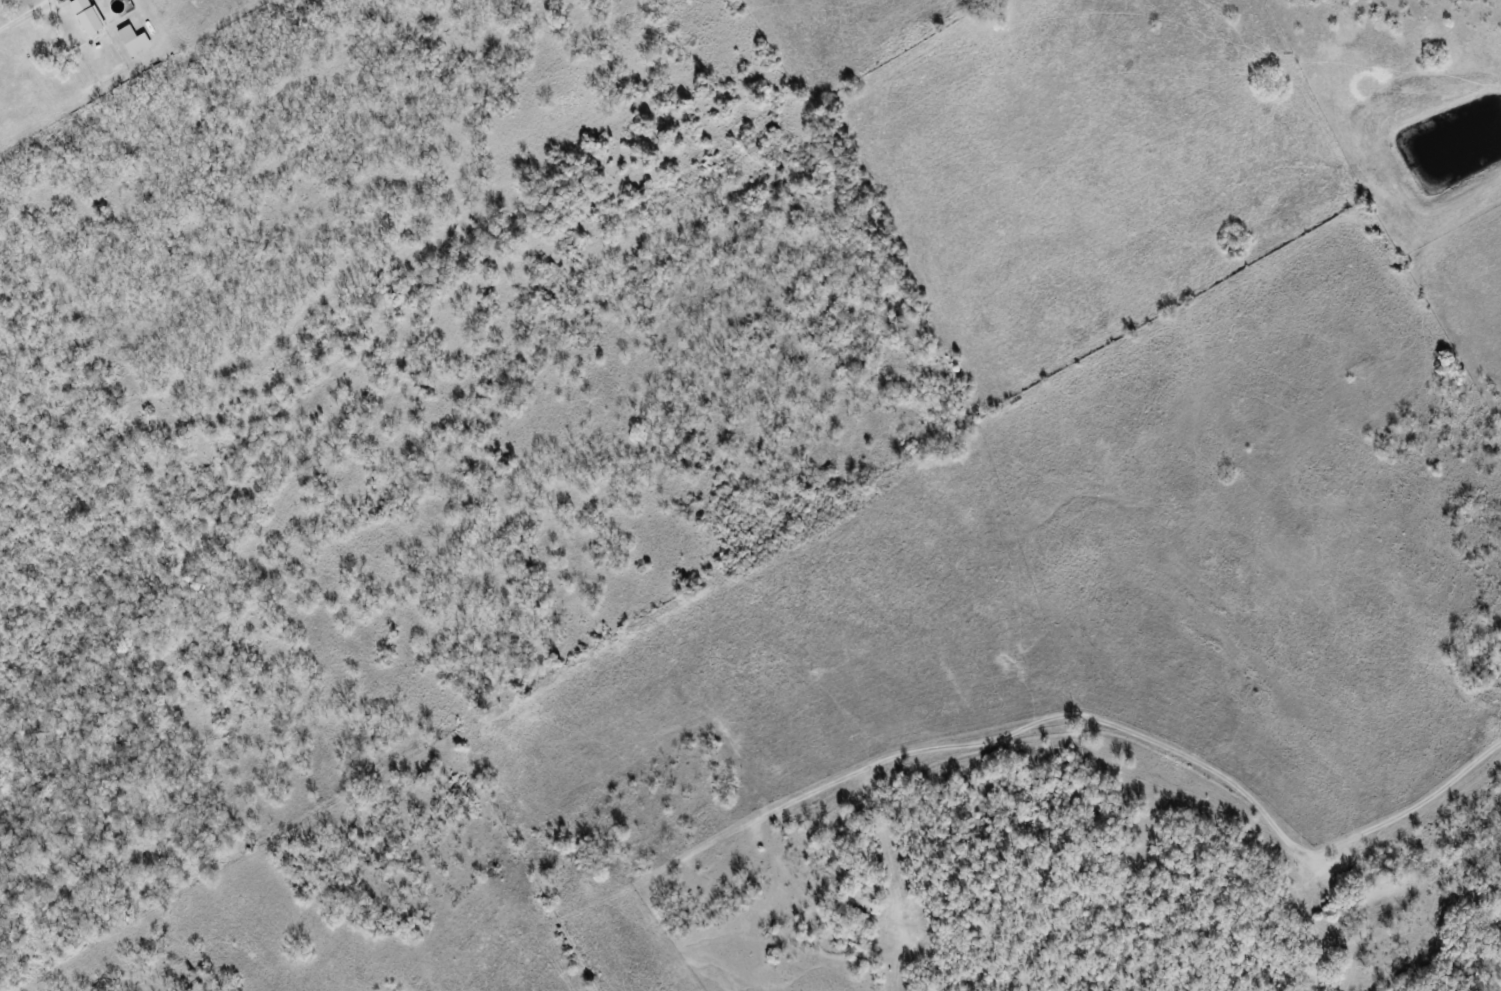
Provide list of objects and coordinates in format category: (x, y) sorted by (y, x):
road: (26, 15)
building: (86, 15)
building: (132, 41)

